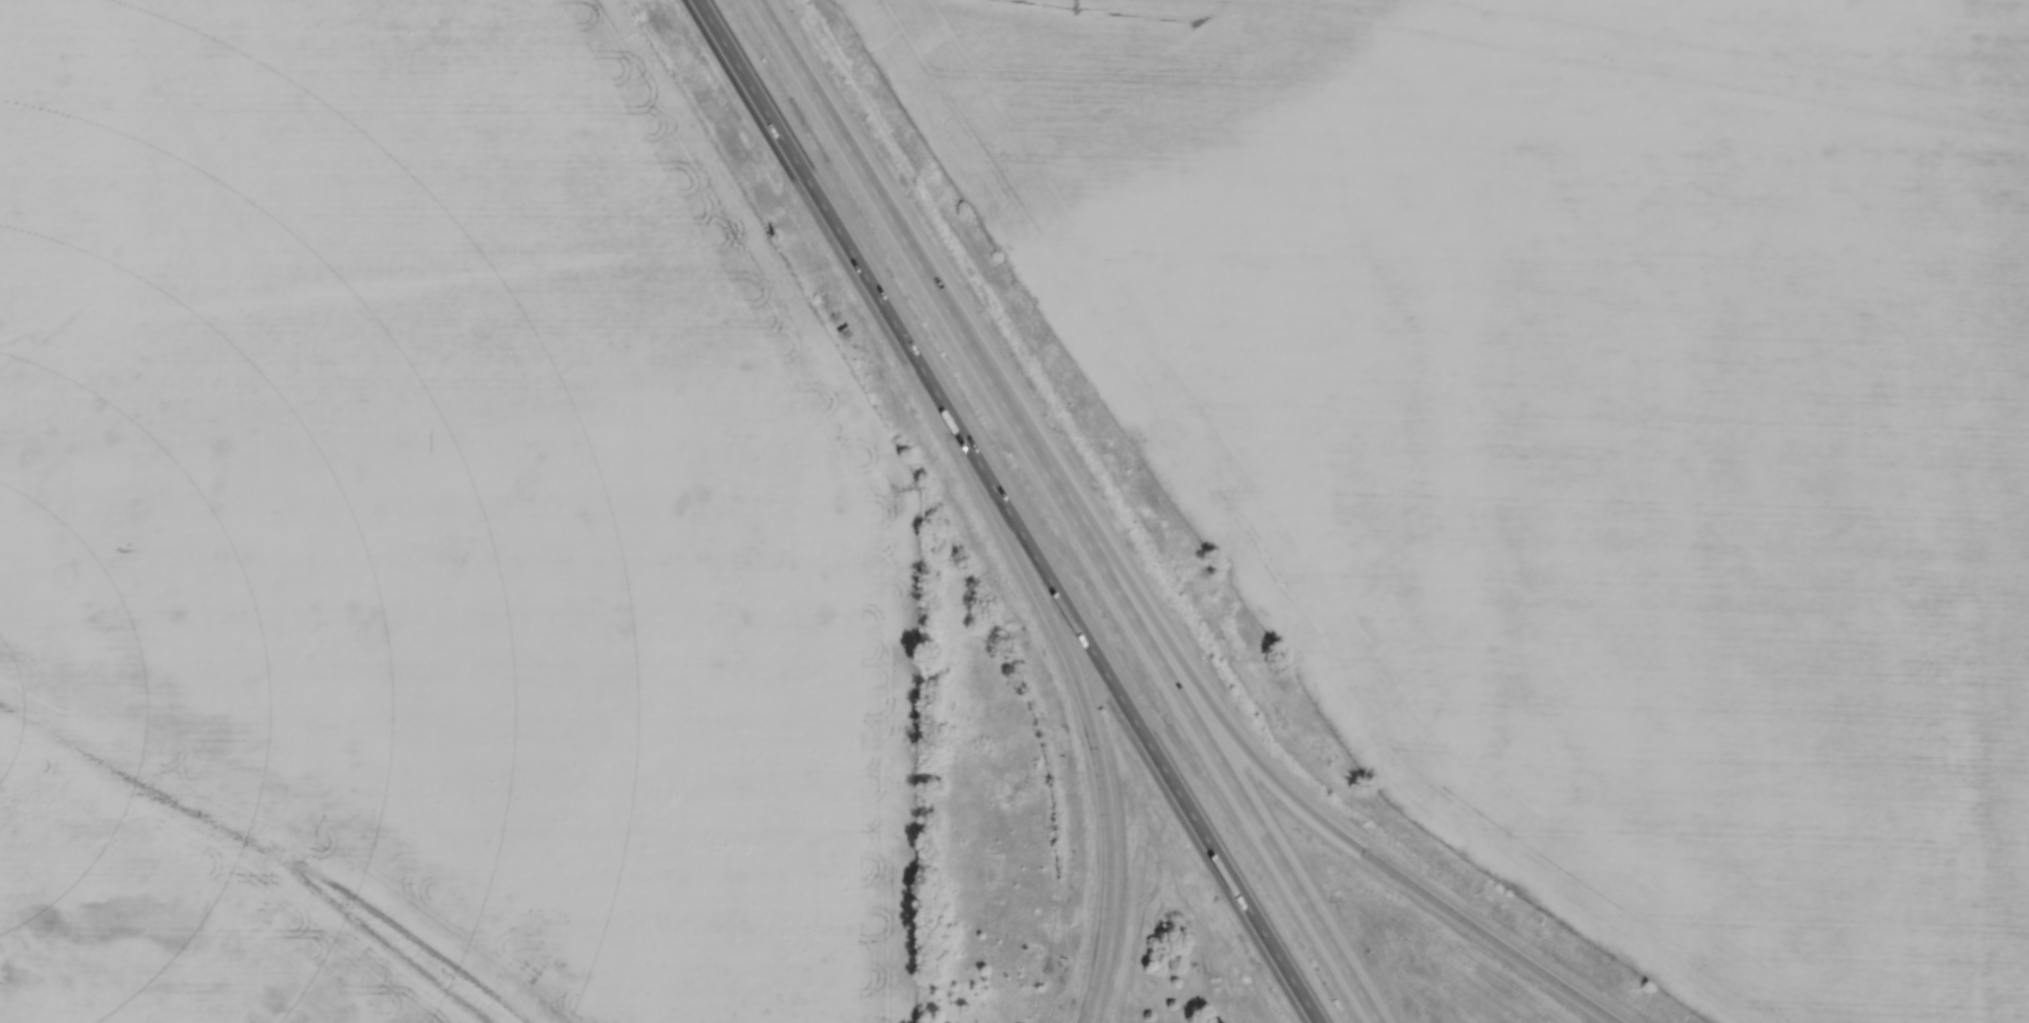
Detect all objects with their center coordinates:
road: (1070, 510)
road: (1002, 516)
road: (1101, 799)
road: (1315, 824)

